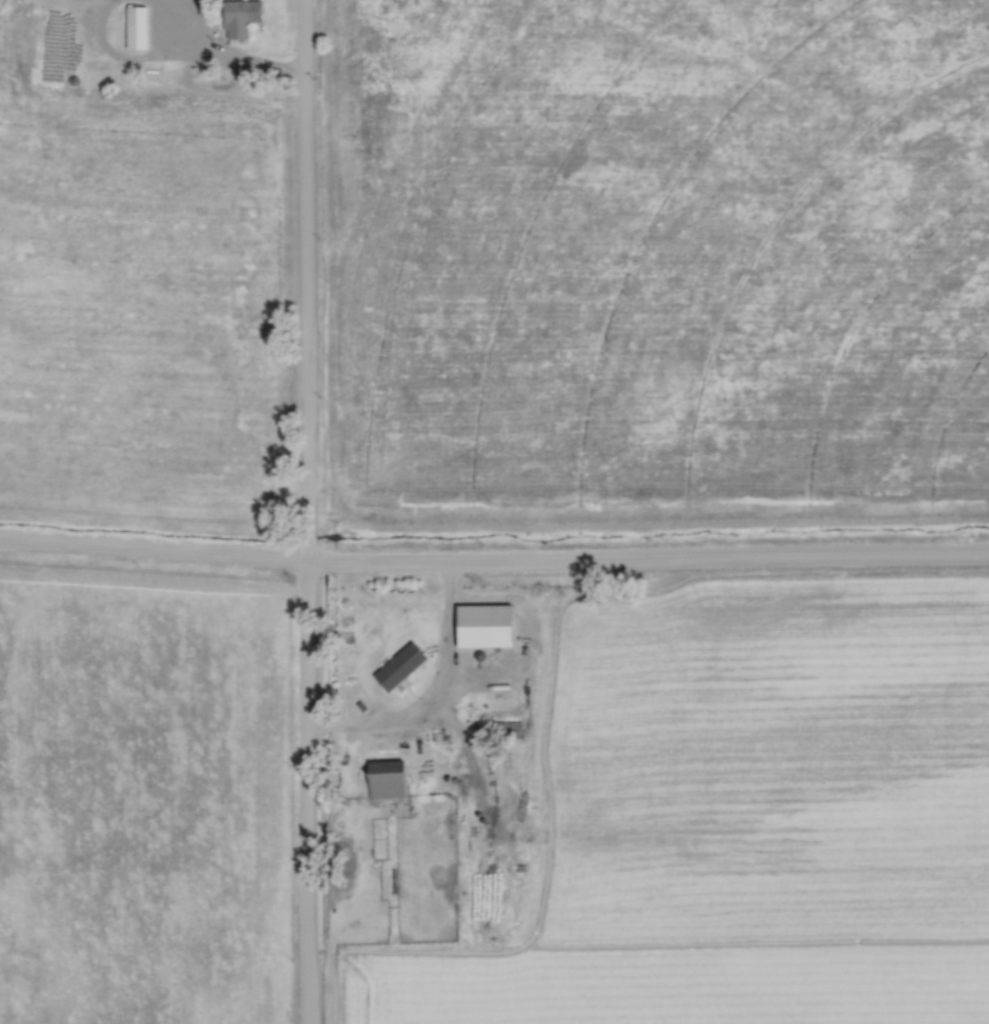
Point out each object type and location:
building: (236, 20)
building: (135, 27)
road: (240, 64)
road: (309, 511)
road: (494, 561)
building: (483, 625)
building: (365, 629)
road: (435, 695)
building: (512, 729)
building: (385, 779)

